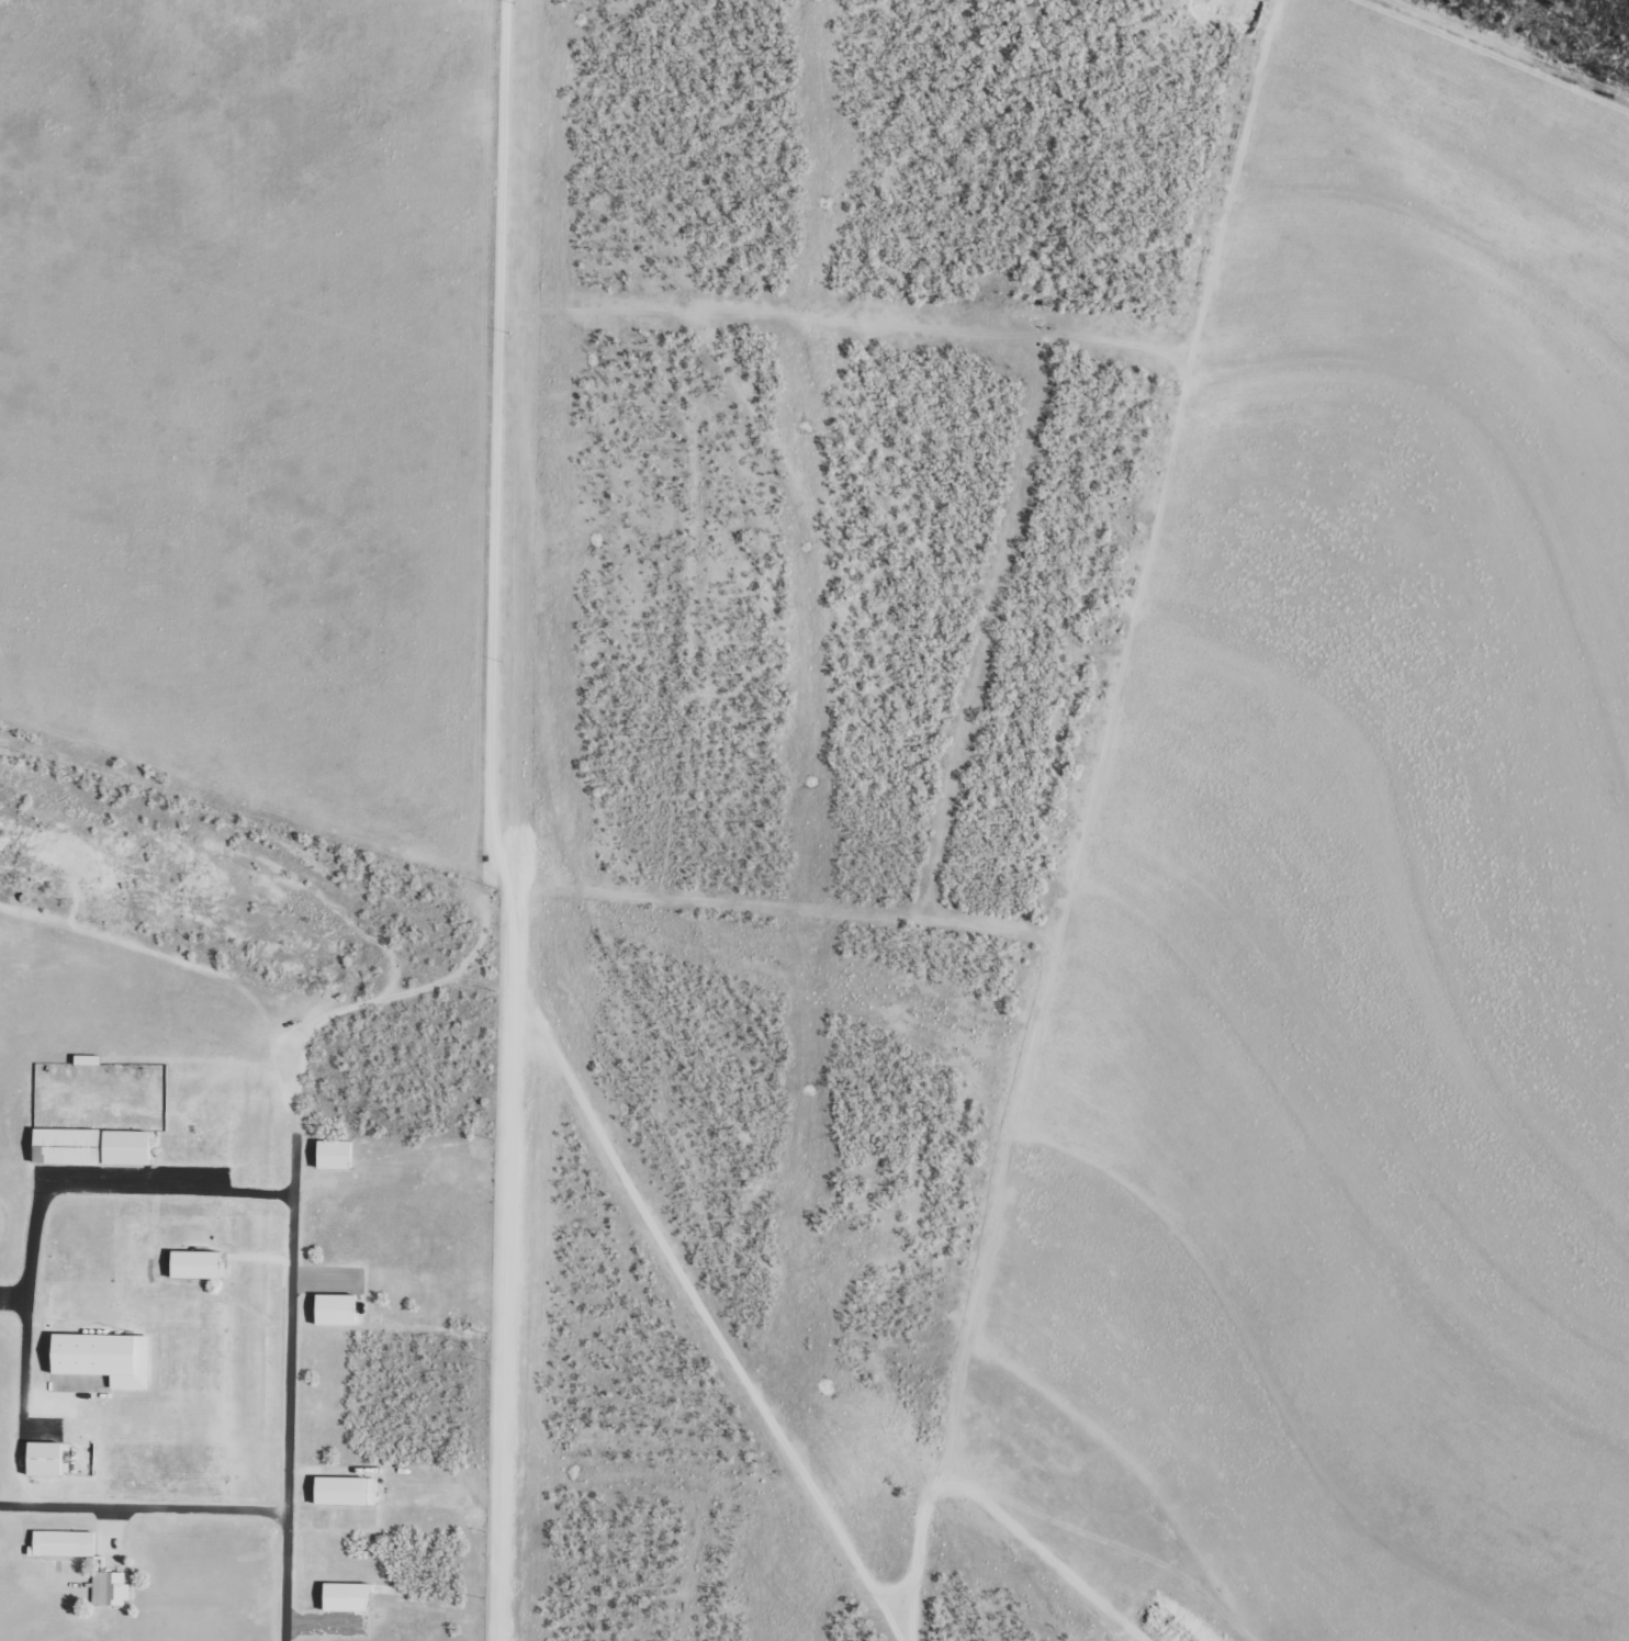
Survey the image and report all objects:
road: (492, 533)
road: (243, 821)
road: (326, 1016)
airport hangar: (68, 1146)
building: (68, 1146)
airport hangar: (130, 1147)
building: (130, 1147)
airport hangar: (338, 1154)
building: (338, 1154)
airport: (238, 1222)
airport hangar: (199, 1265)
building: (199, 1265)
building: (334, 1311)
road: (288, 1345)
airport hangar: (103, 1358)
building: (103, 1358)
airport hangar: (46, 1458)
building: (46, 1458)
airport hangar: (347, 1491)
building: (347, 1491)
airport hangar: (63, 1541)
building: (63, 1541)
building: (109, 1589)
airport hangar: (348, 1595)
building: (348, 1595)

